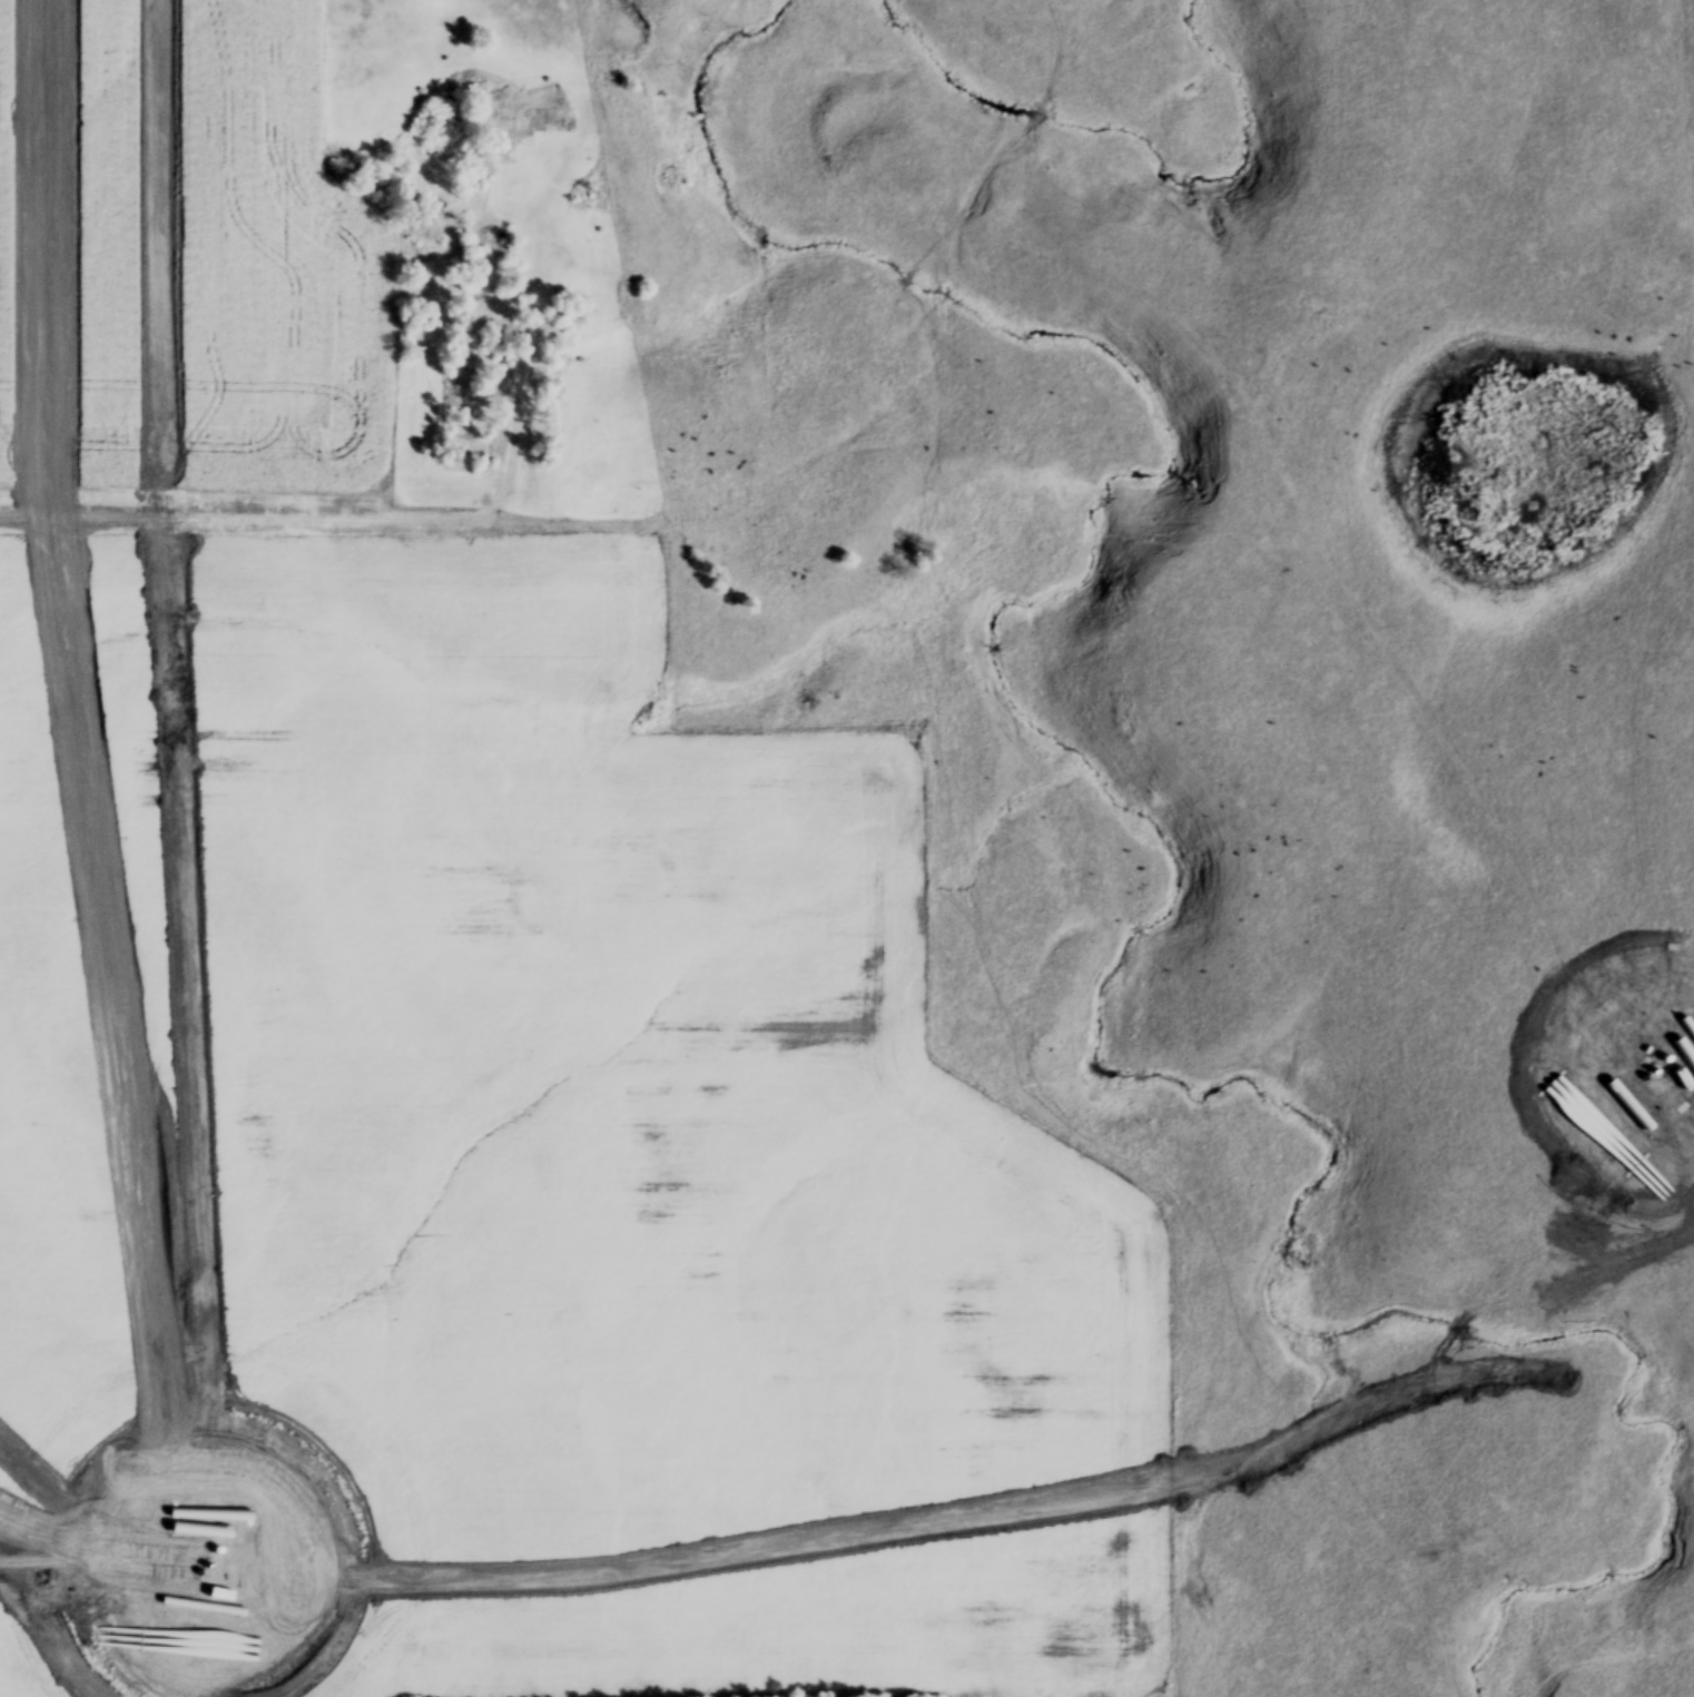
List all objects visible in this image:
road: (372, 512)
wind turbine: (1658, 1069)
wind turbine: (201, 1566)

